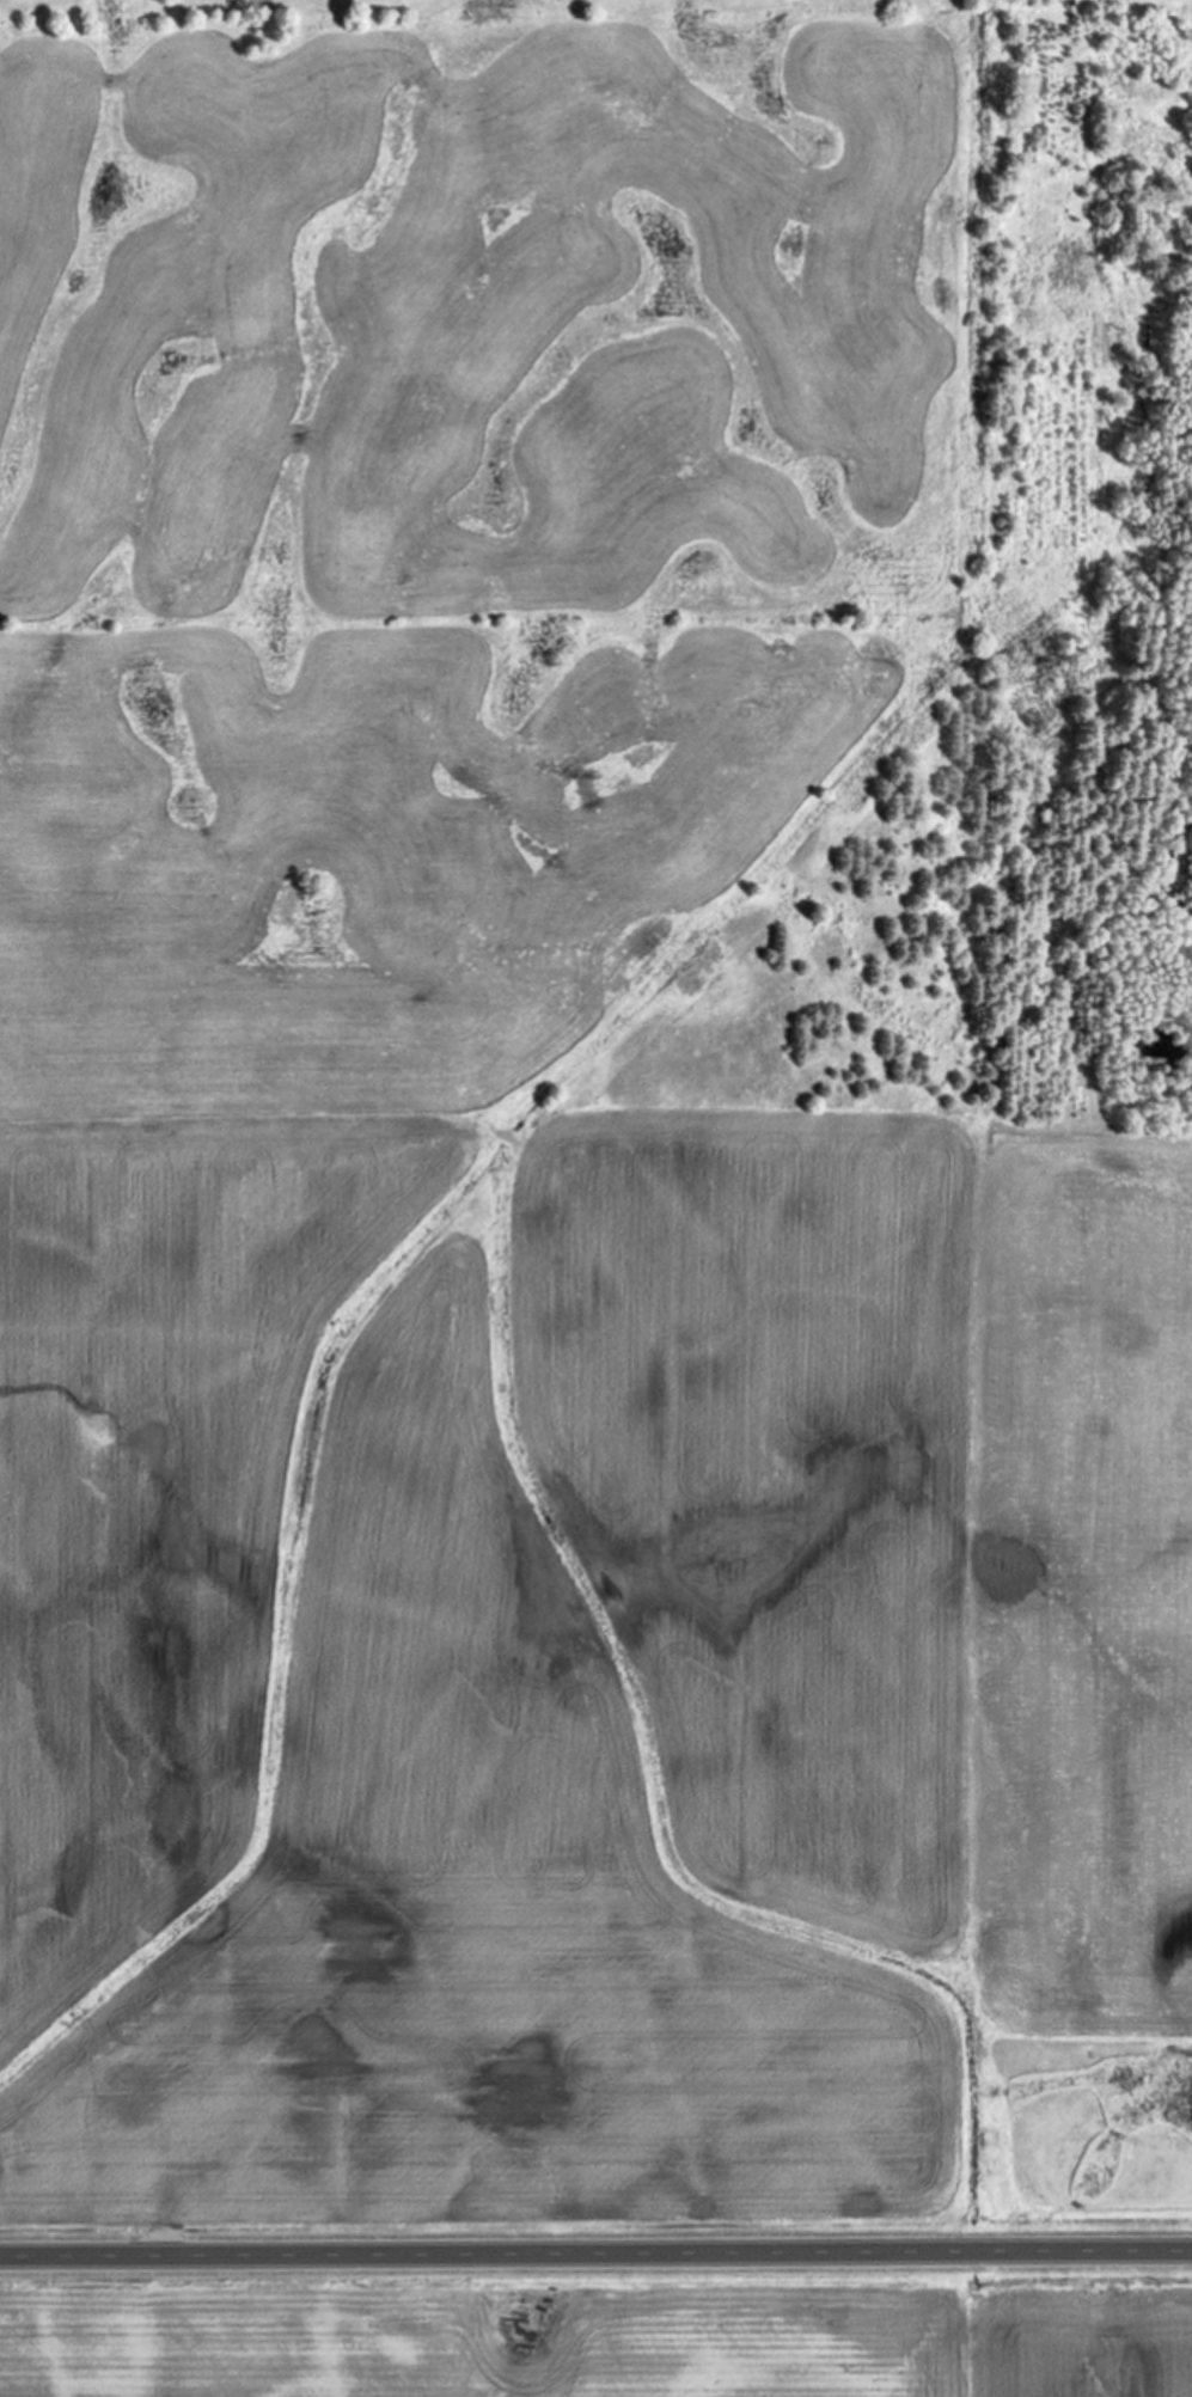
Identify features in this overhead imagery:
road: (595, 2251)

